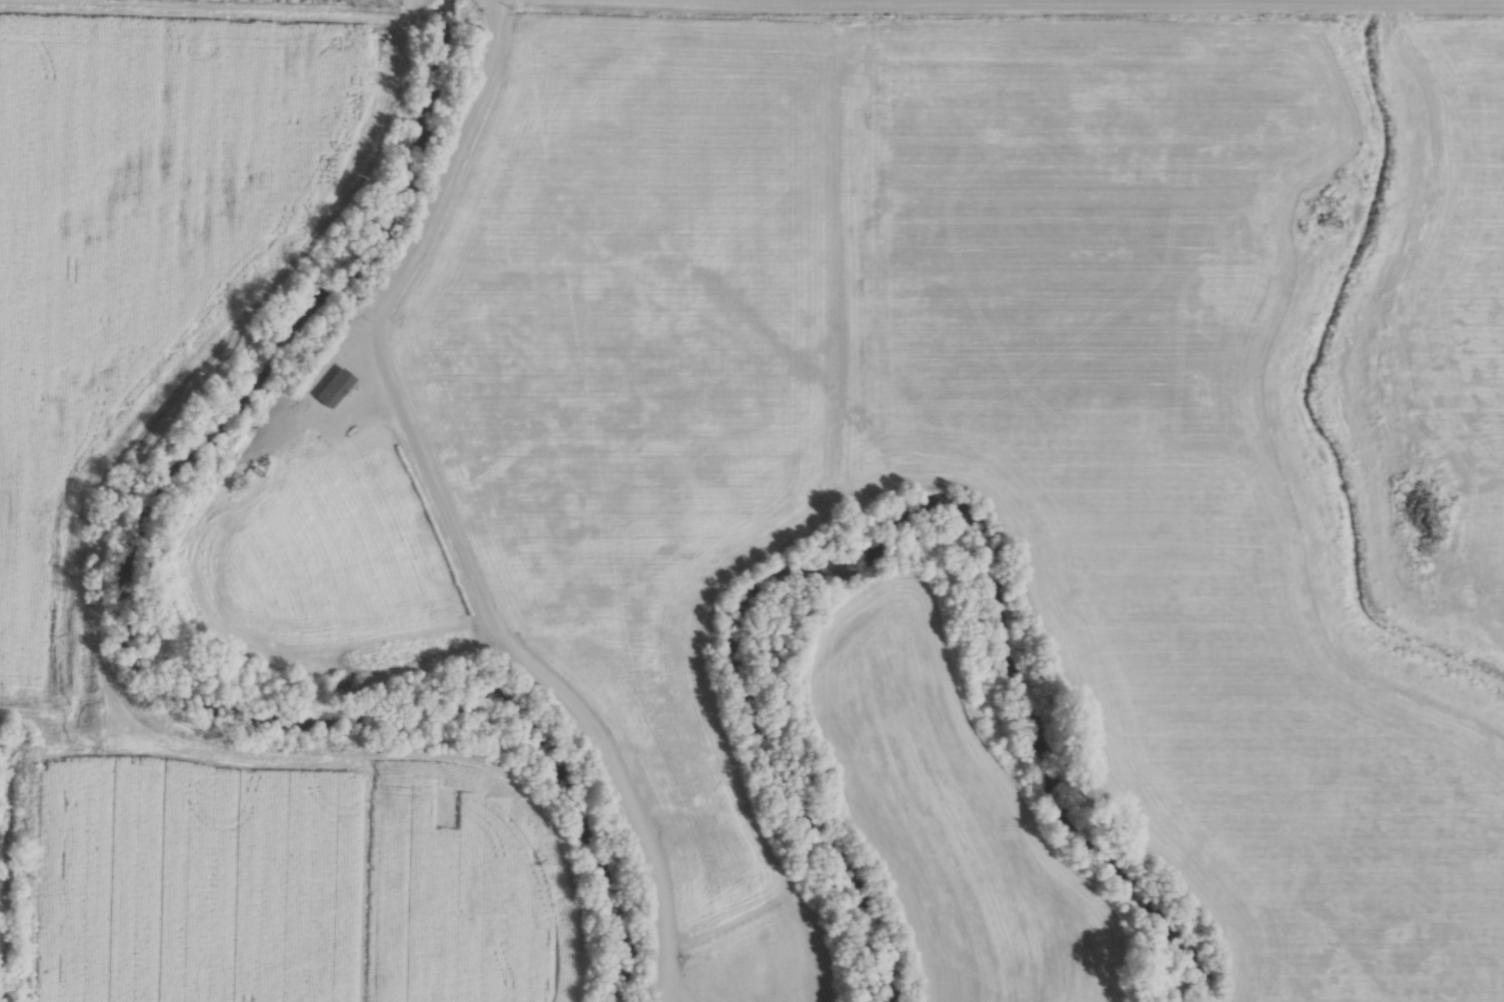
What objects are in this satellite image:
crop: (147, 233)
crop: (195, 879)

